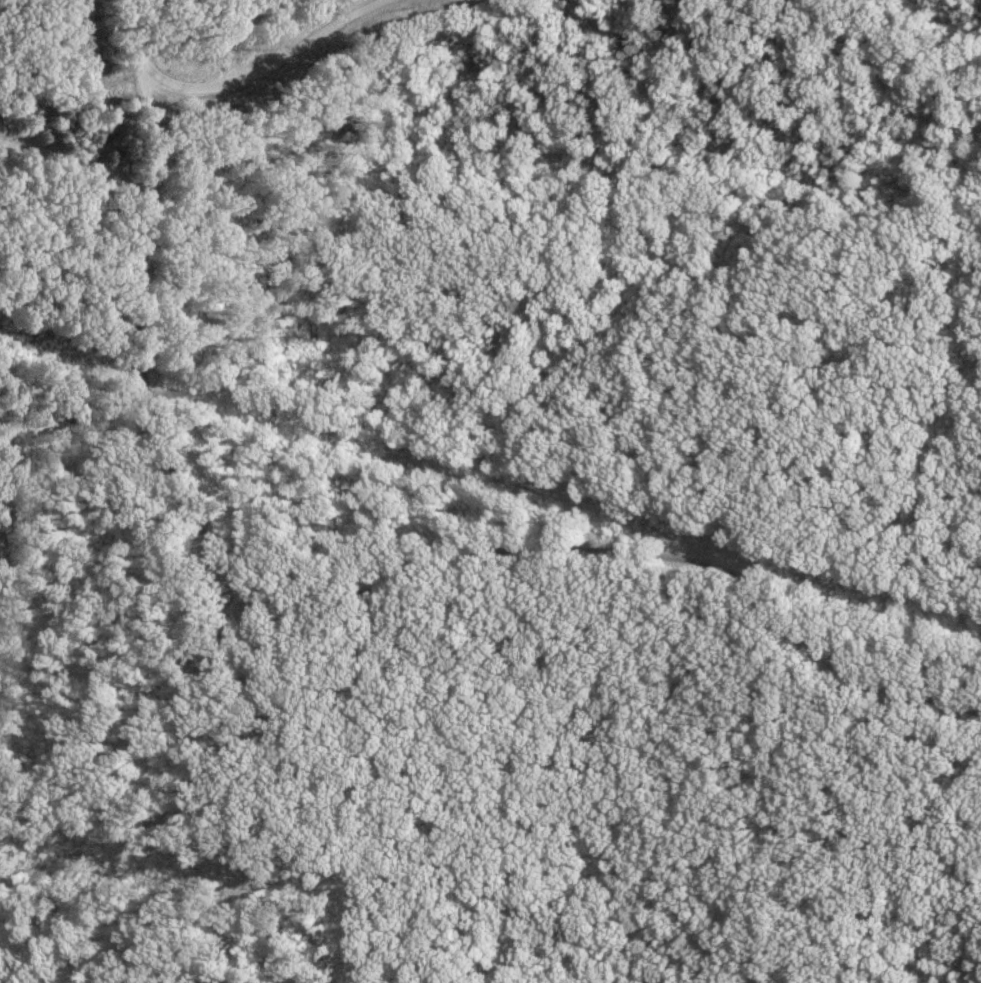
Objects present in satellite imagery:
road: (217, 83)
road: (352, 608)

